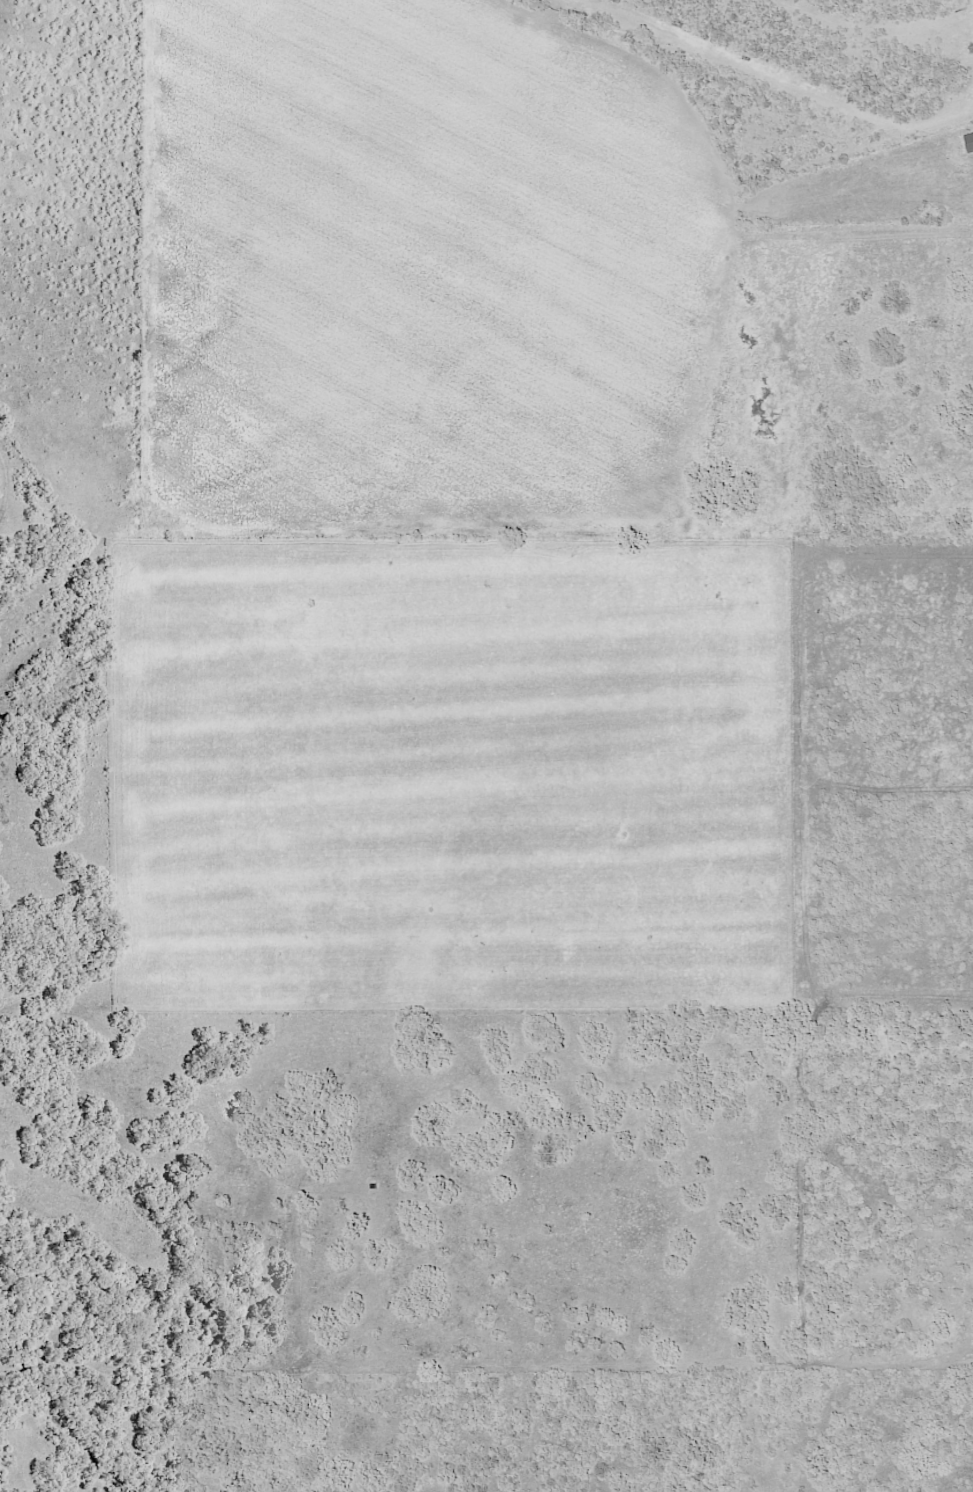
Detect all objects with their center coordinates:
building: (970, 140)

